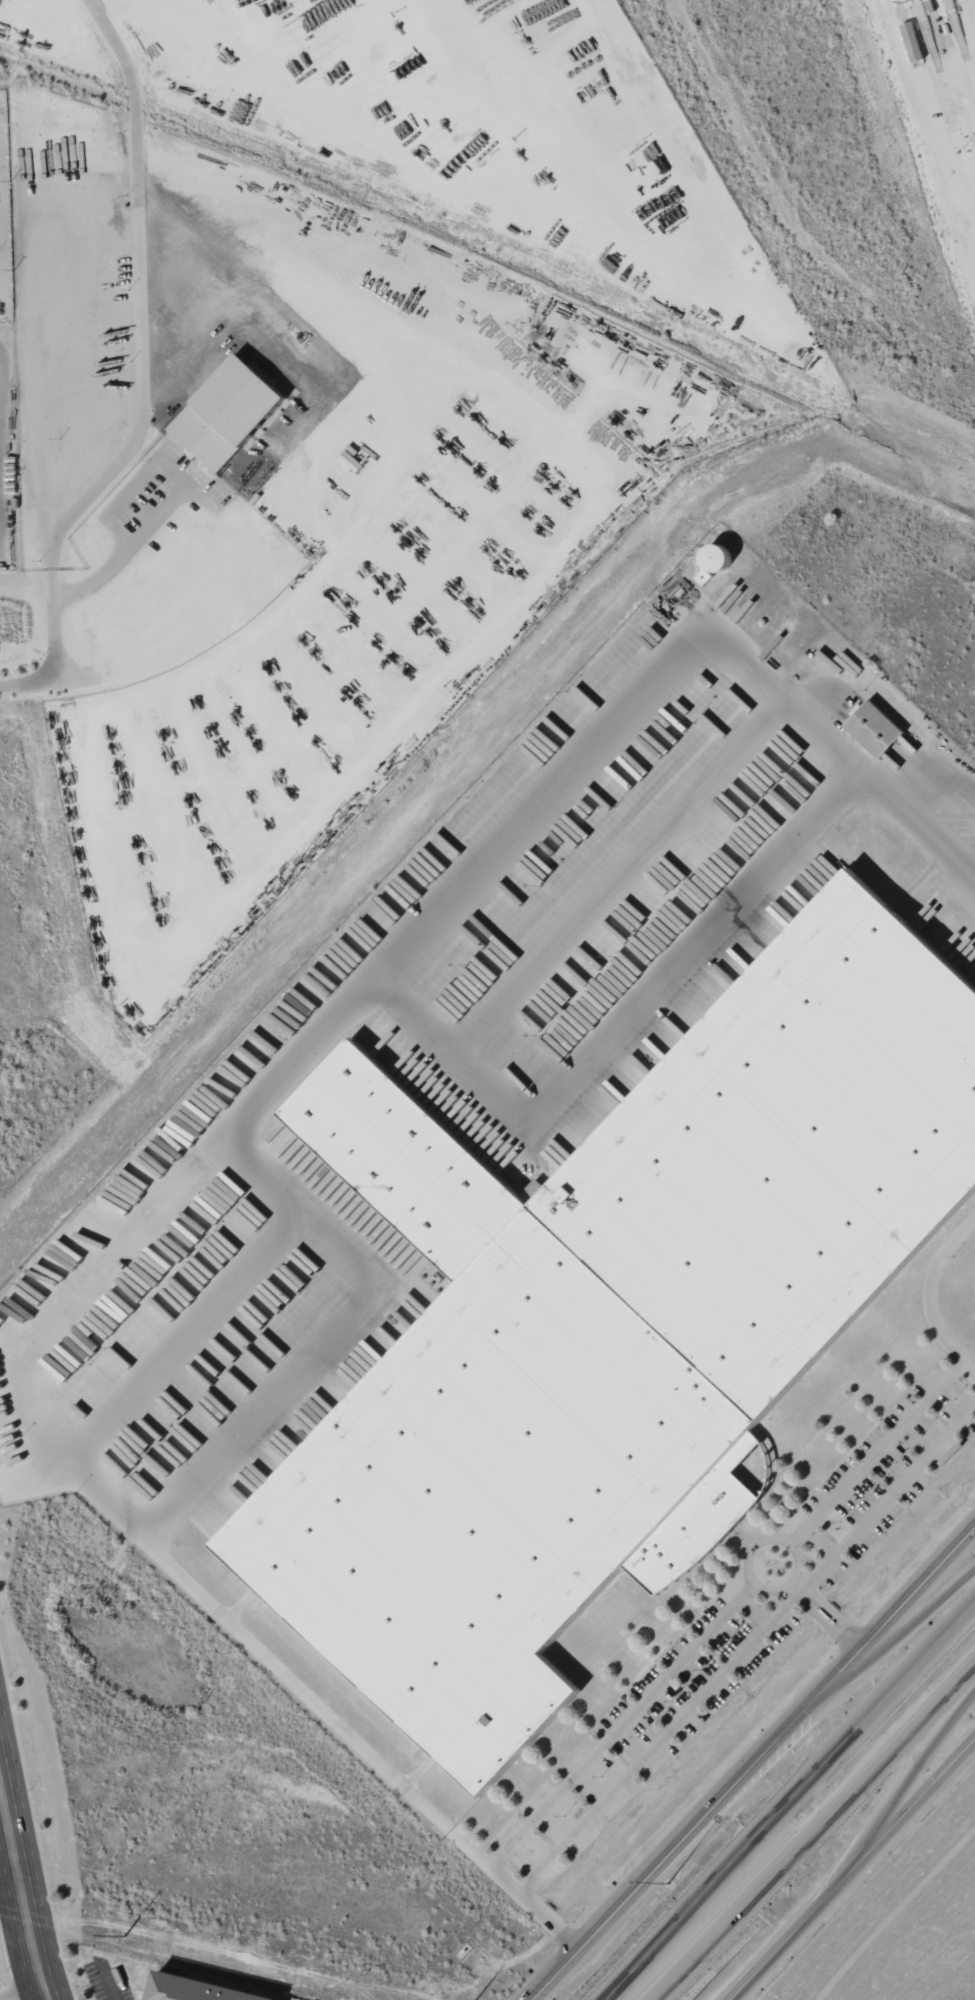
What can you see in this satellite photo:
building: (913, 41)
road: (928, 133)
road: (150, 377)
building: (229, 412)
building: (875, 728)
road: (425, 931)
building: (534, 1191)
building: (614, 1328)
road: (805, 1575)
road: (807, 1589)
road: (837, 1609)
road: (827, 1618)
road: (896, 1638)
road: (860, 1641)
road: (321, 1708)
road: (754, 1765)
road: (910, 1769)
road: (790, 1798)
road: (815, 1831)
road: (850, 1865)
road: (21, 1893)
power tower: (180, 1949)
building: (199, 1989)

